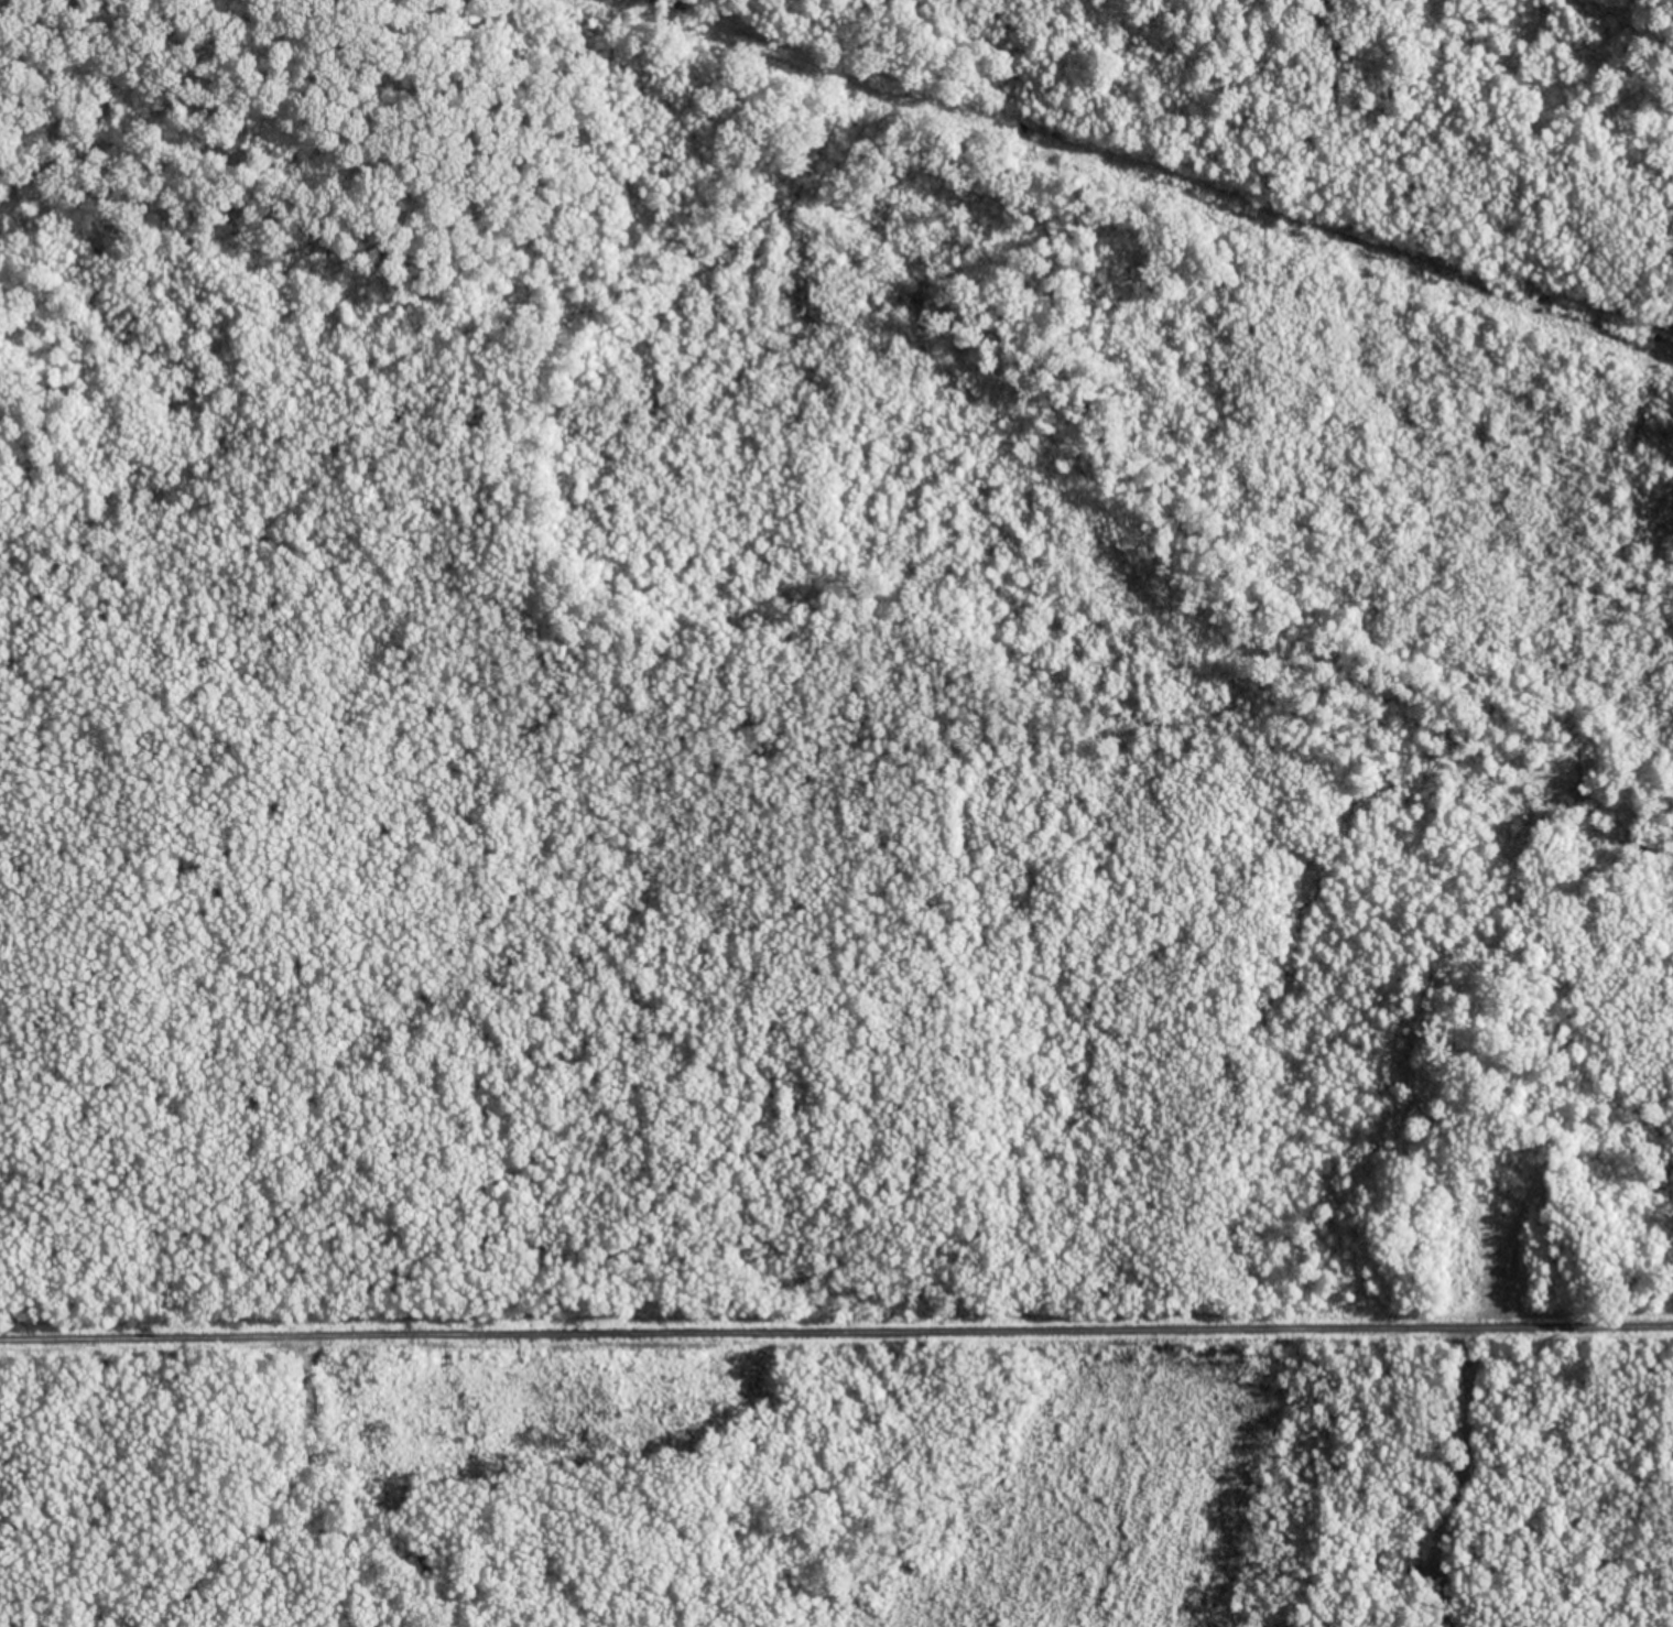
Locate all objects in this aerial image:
road: (836, 1336)

